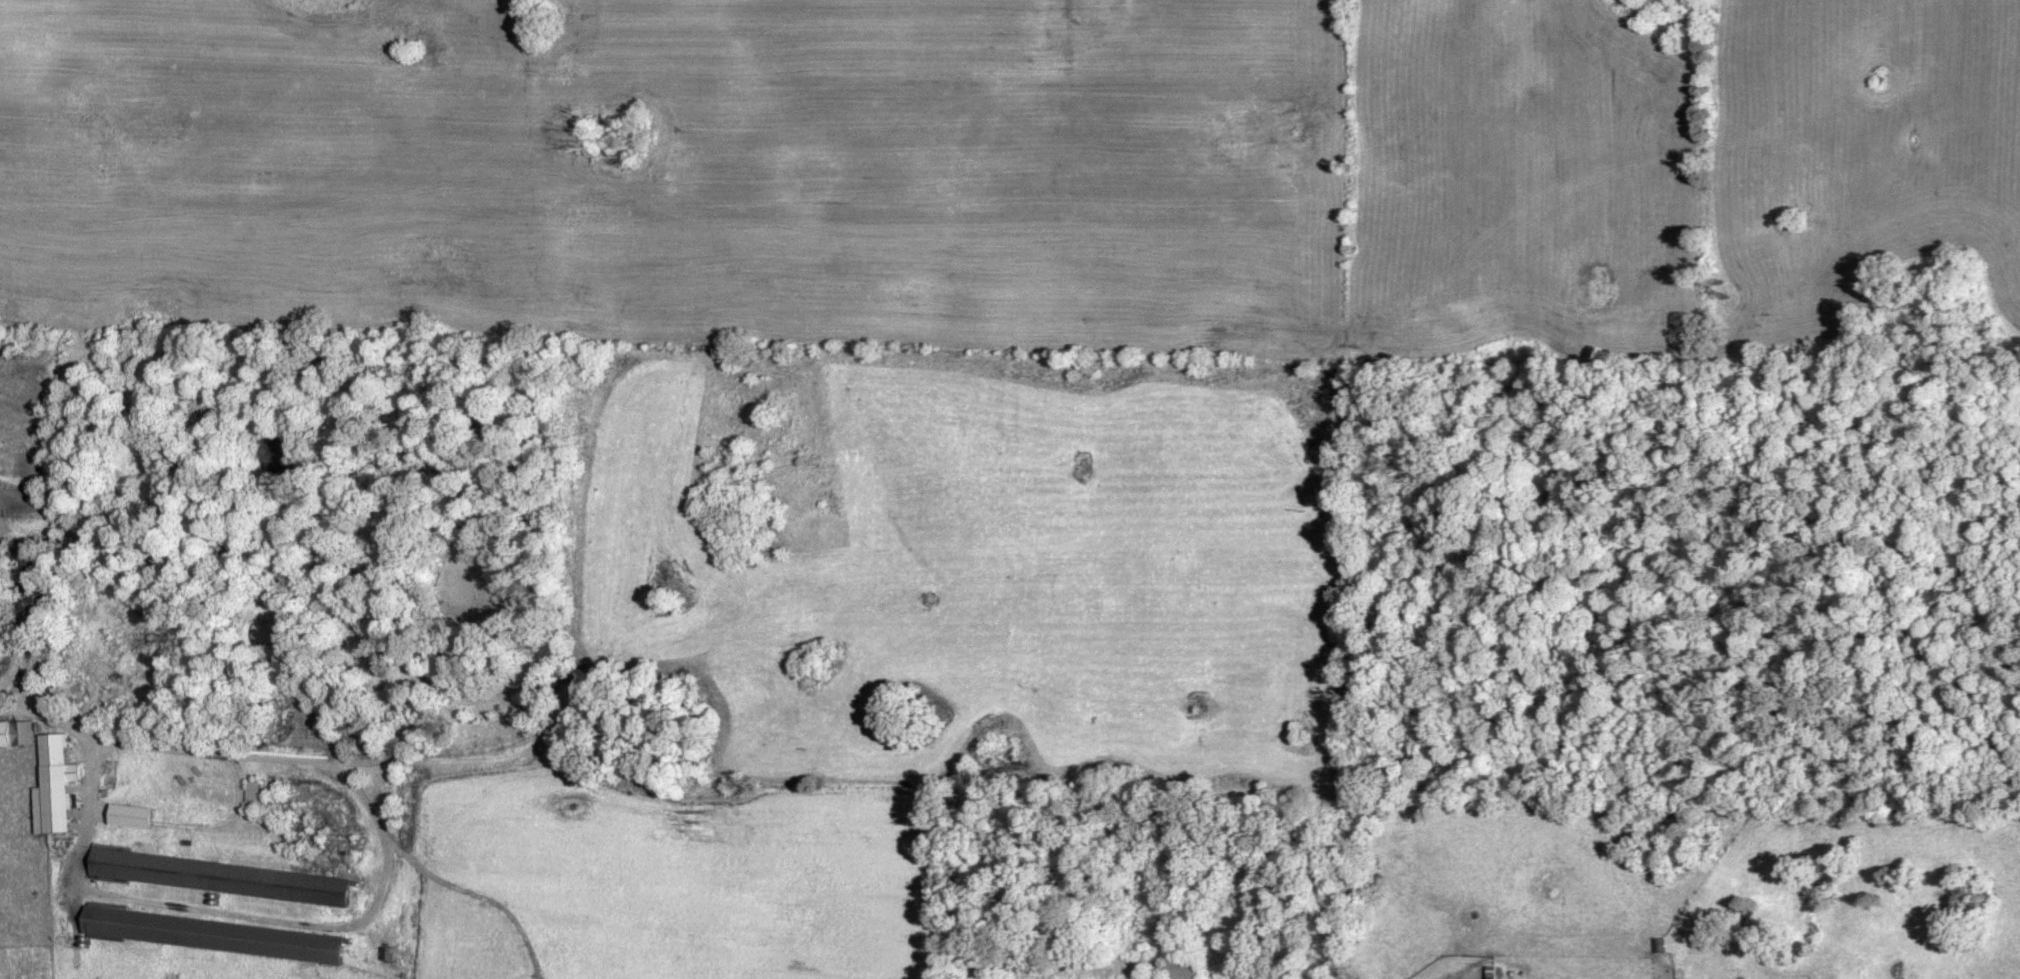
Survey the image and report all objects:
building: (28, 561)
building: (2, 667)
building: (24, 733)
building: (112, 771)
building: (58, 799)
building: (223, 877)
building: (216, 934)
building: (389, 954)
building: (1190, 968)

